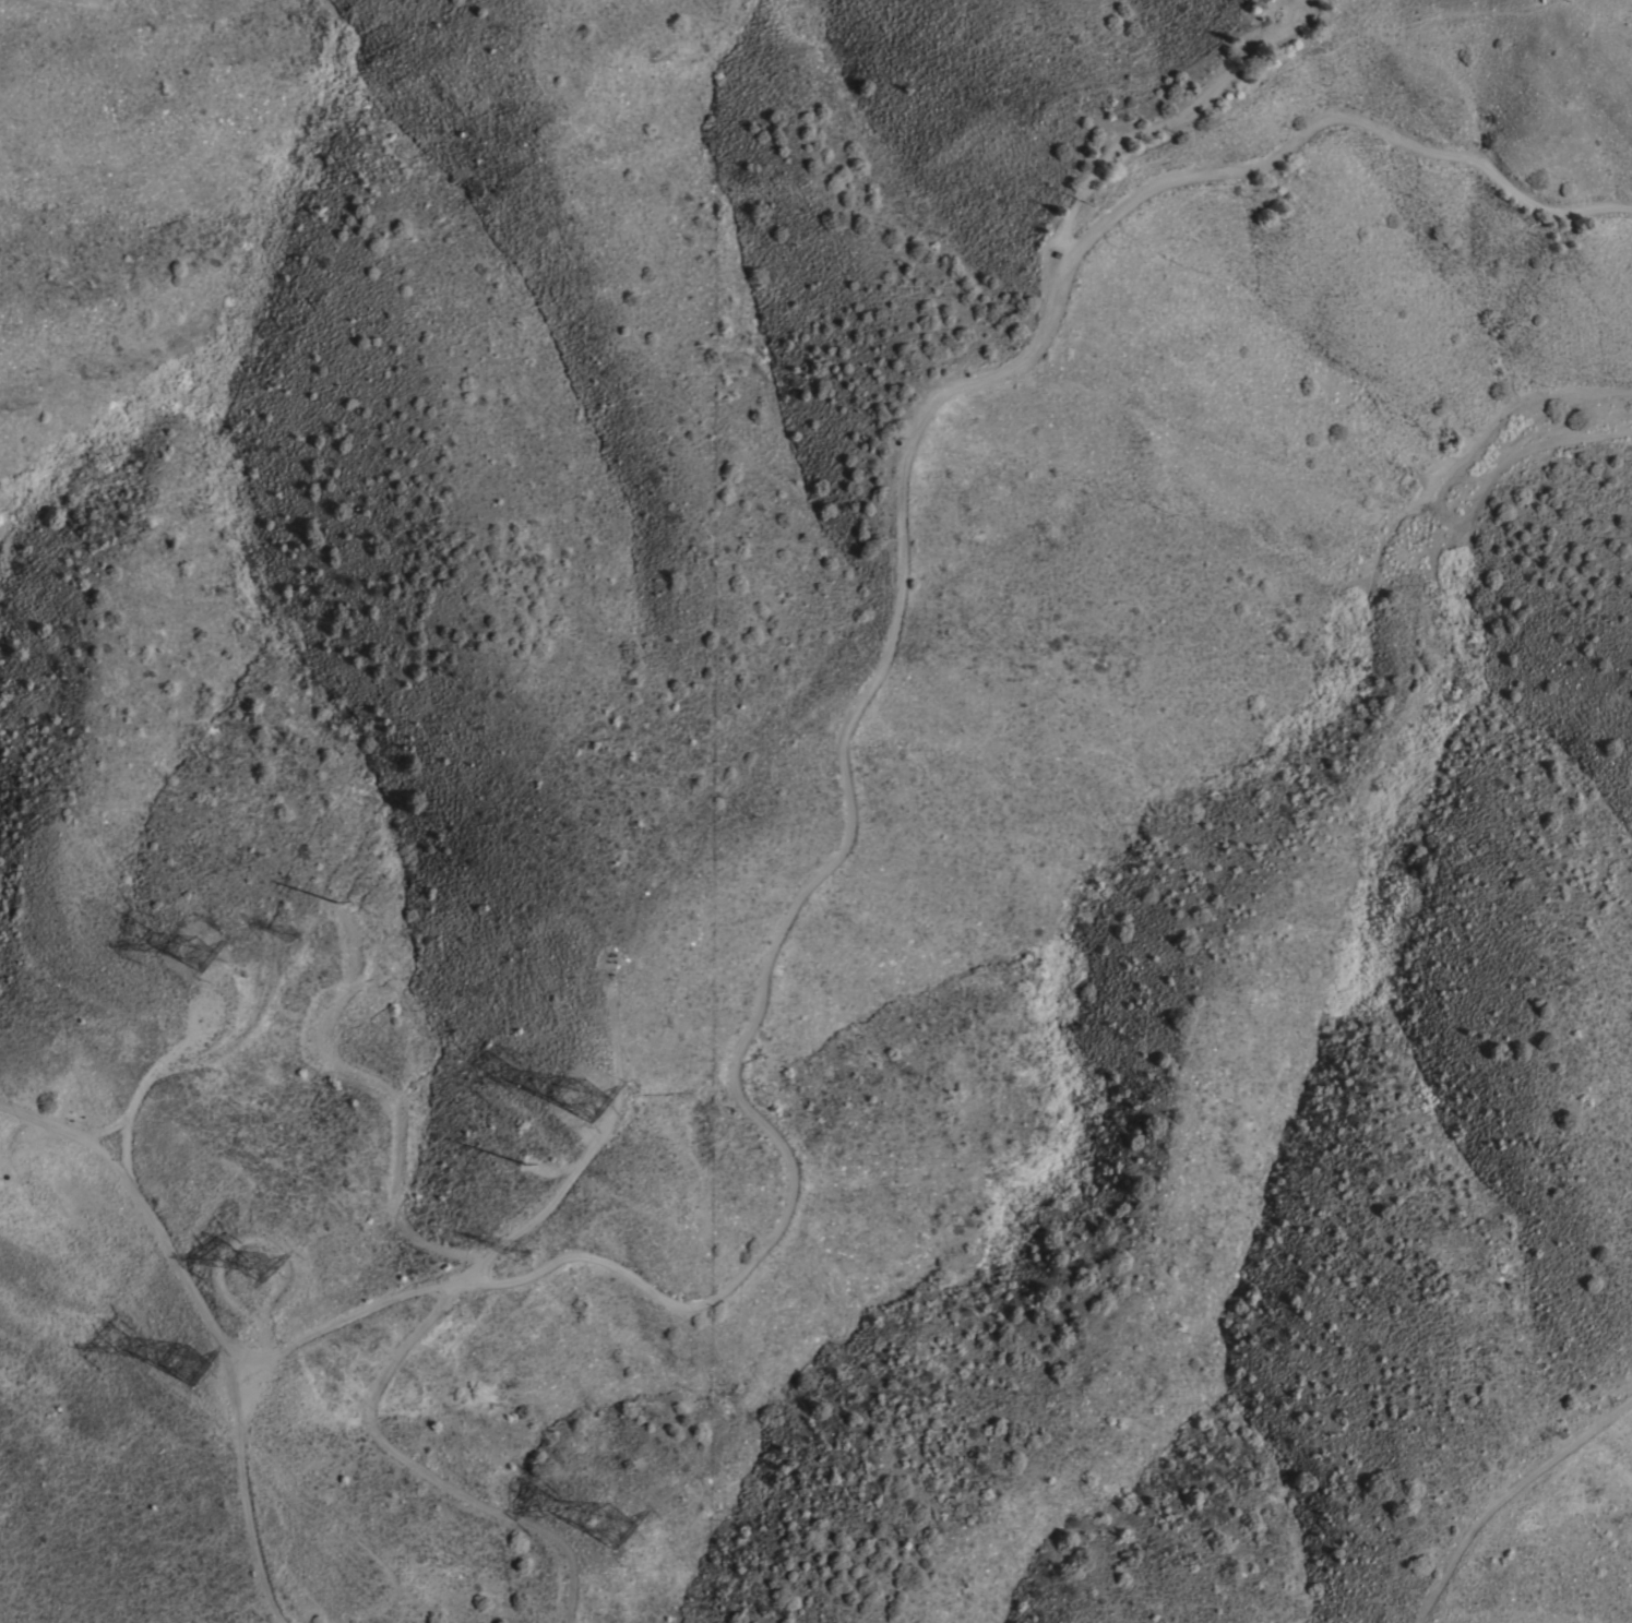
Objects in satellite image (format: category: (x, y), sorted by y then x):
building: (1300, 7)
power tower: (333, 904)
power tower: (289, 935)
power tower: (180, 947)
road: (630, 964)
power tower: (581, 1097)
power tower: (522, 1167)
power tower: (514, 1244)
power tower: (271, 1269)
power tower: (182, 1350)
power tower: (592, 1529)

